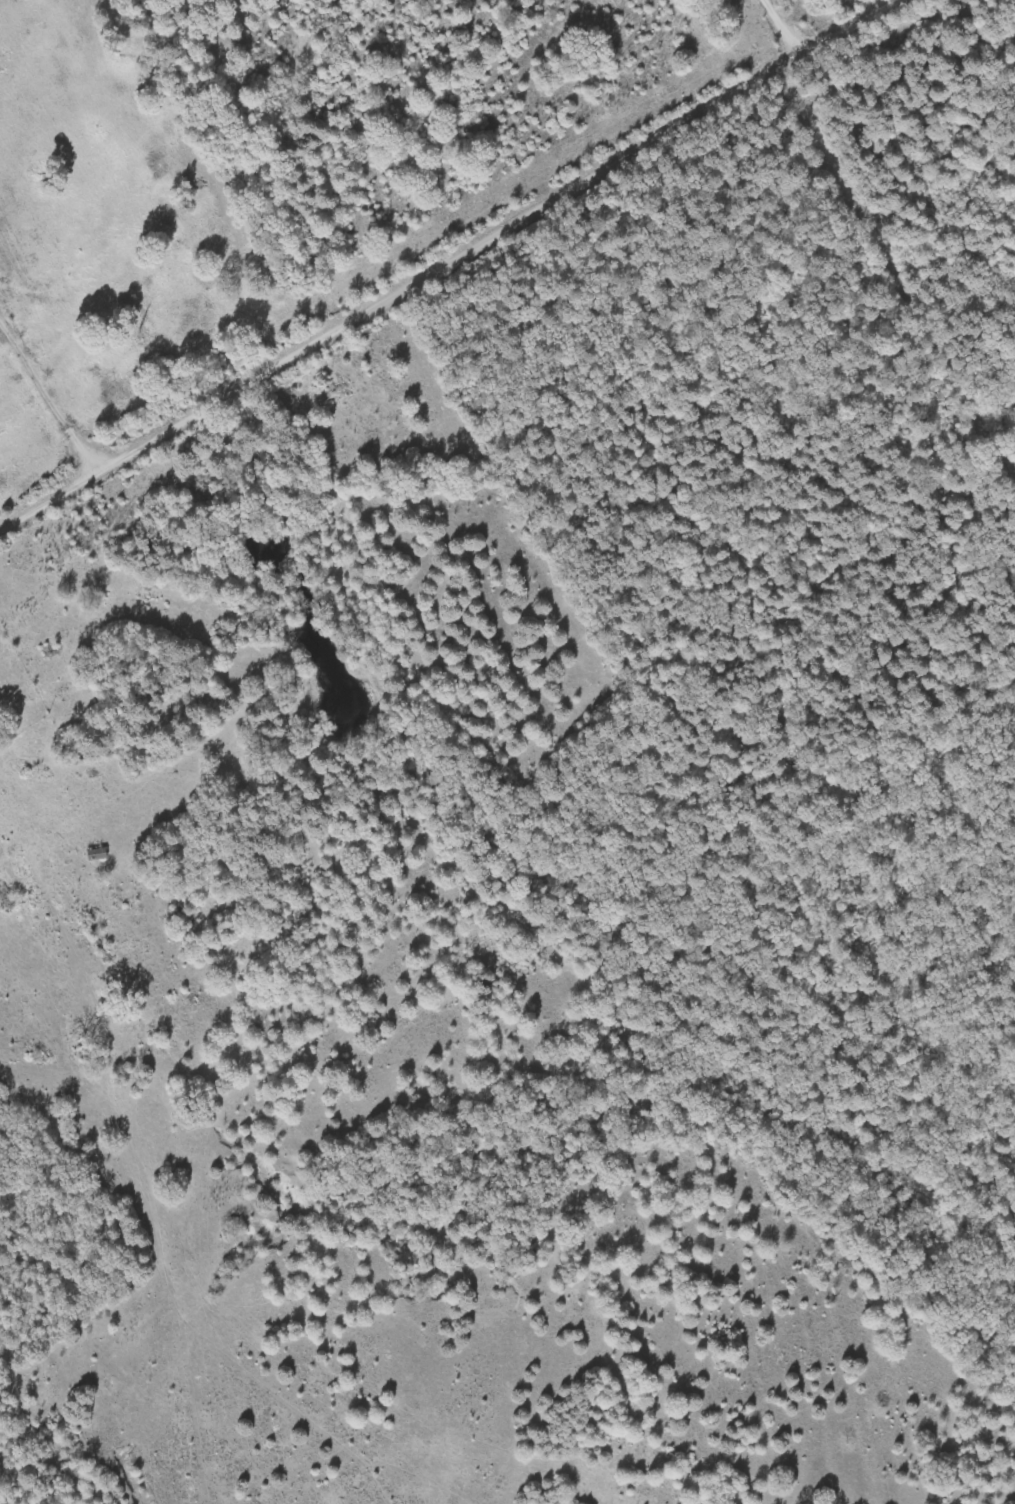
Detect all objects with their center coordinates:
road: (253, 163)
road: (448, 267)

